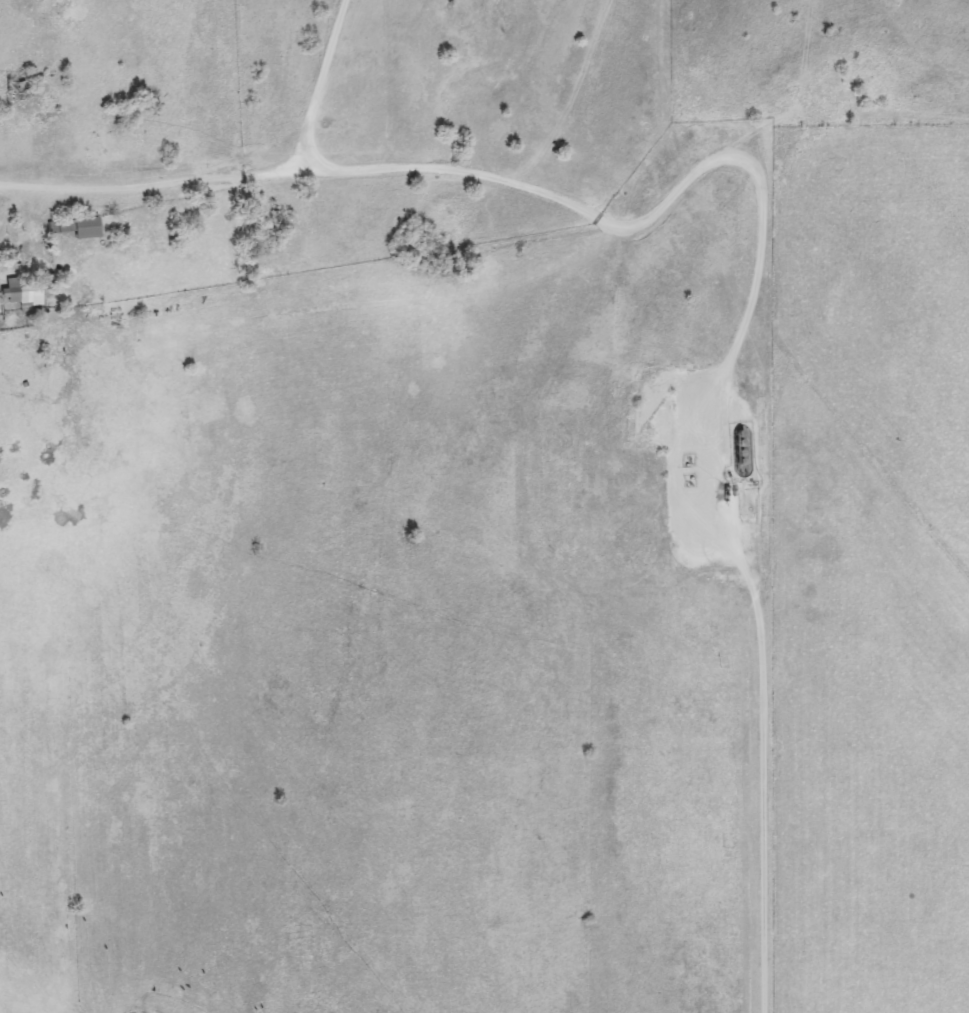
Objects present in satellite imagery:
building: (14, 91)
road: (236, 182)
road: (666, 205)
building: (83, 228)
building: (21, 294)
road: (109, 483)

